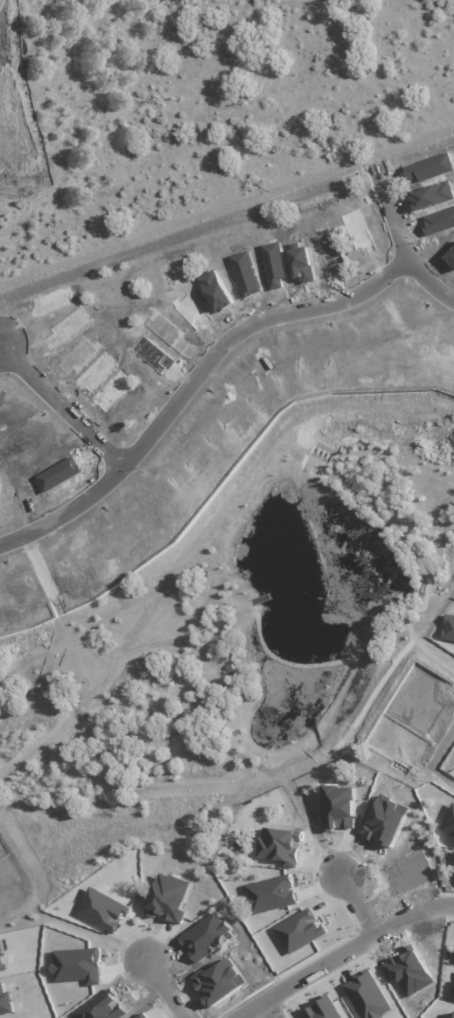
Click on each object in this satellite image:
road: (270, 86)
road: (13, 149)
road: (388, 177)
road: (195, 369)
road: (61, 404)
building: (448, 628)
building: (453, 857)
road: (358, 903)
road: (340, 950)
road: (161, 987)
road: (268, 1008)

